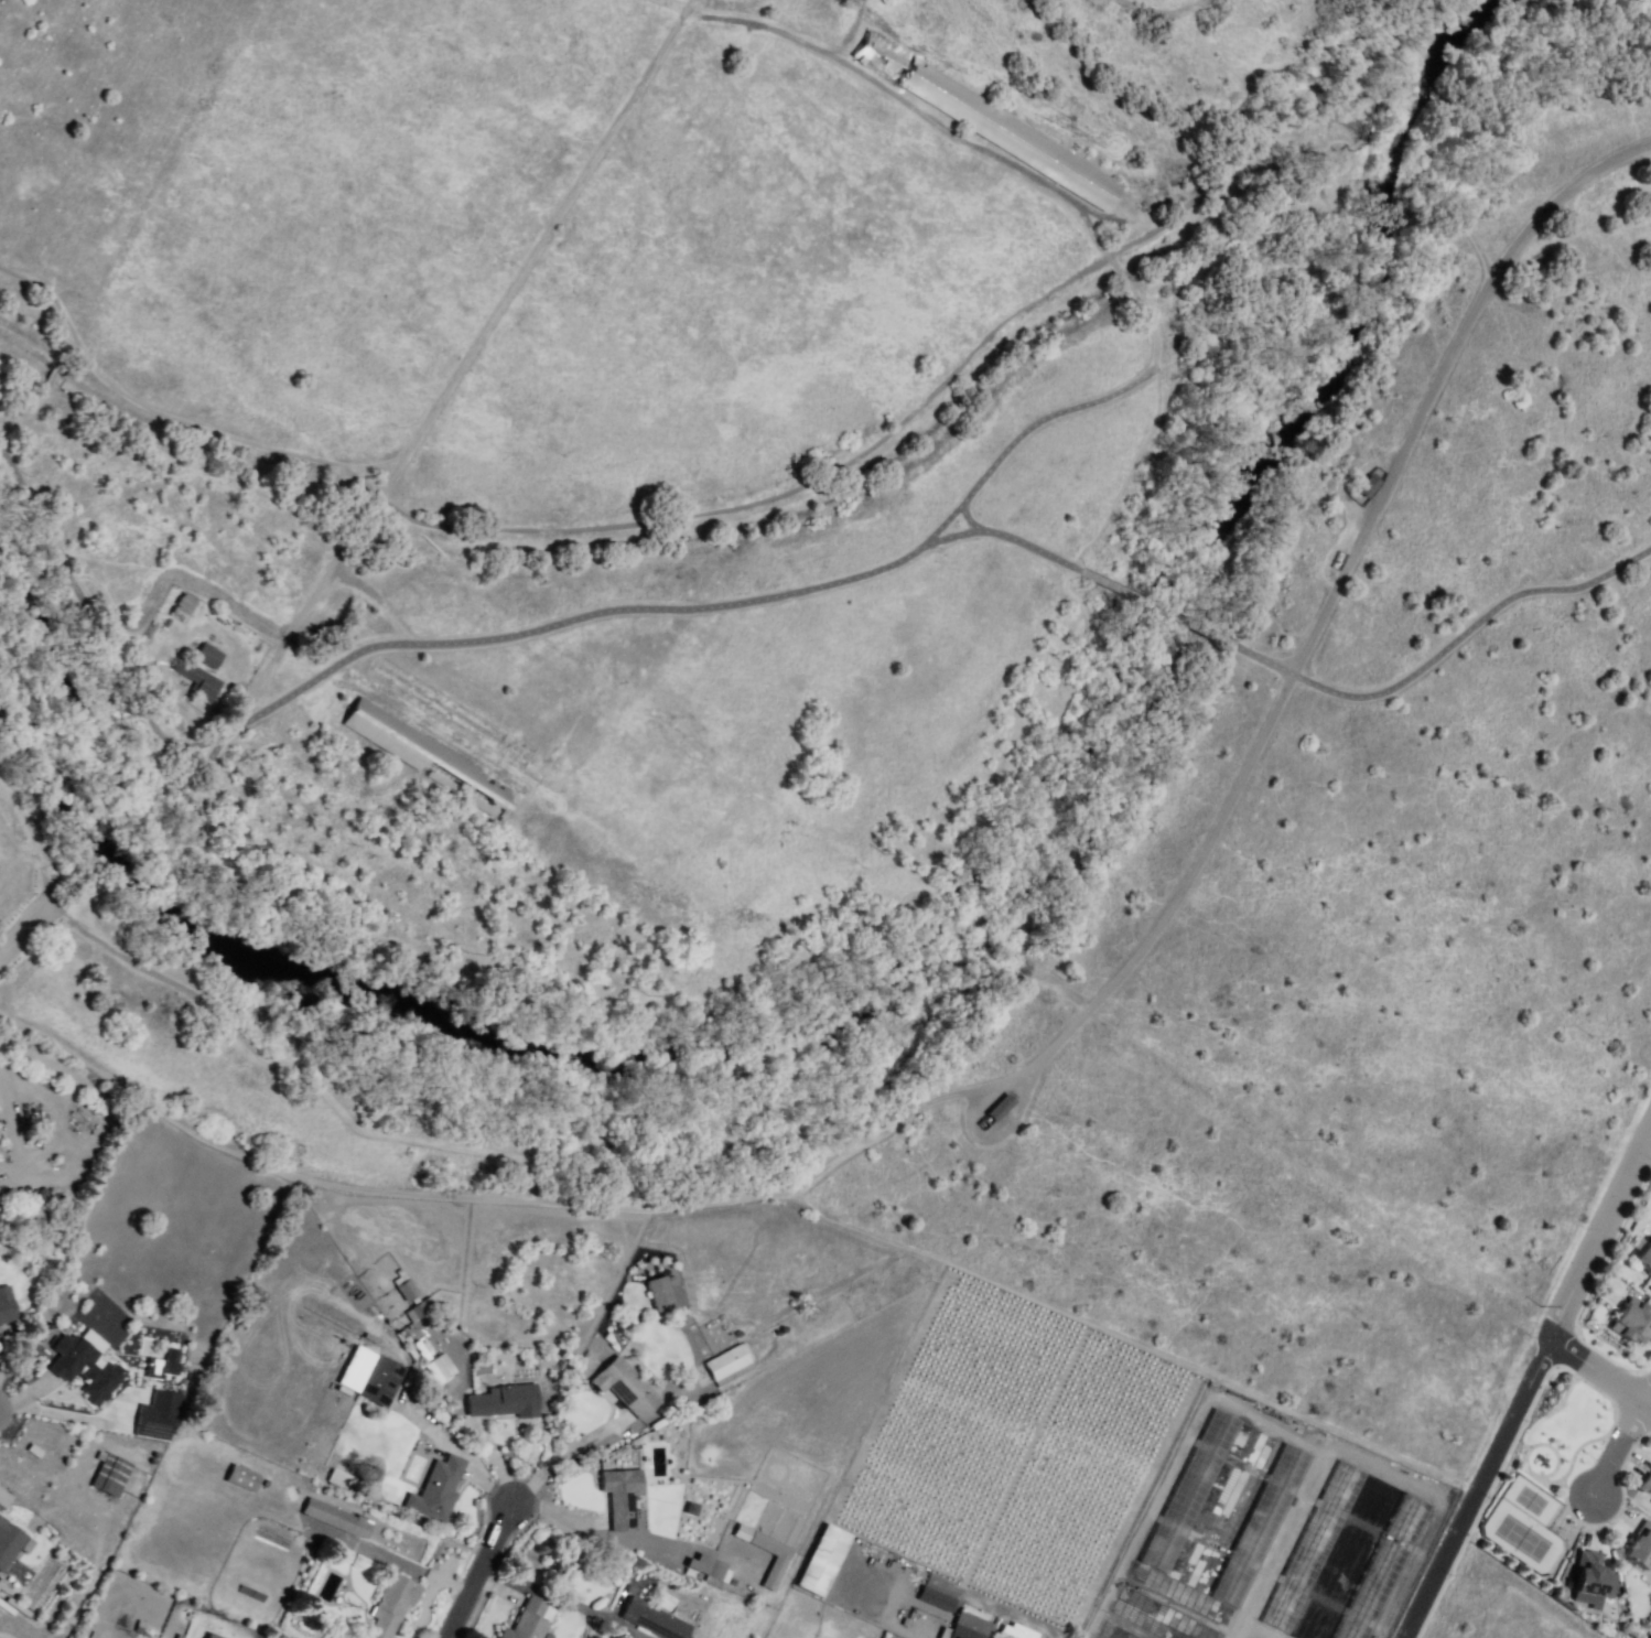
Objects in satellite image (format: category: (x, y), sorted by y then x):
road: (687, 4)
road: (682, 8)
road: (1482, 116)
building: (992, 122)
road: (144, 150)
road: (581, 194)
road: (1134, 302)
road: (56, 337)
road: (52, 376)
road: (26, 412)
building: (1367, 485)
road: (543, 531)
building: (182, 607)
road: (1159, 608)
road: (367, 615)
road: (1318, 617)
road: (1468, 628)
road: (454, 649)
building: (207, 656)
road: (1263, 657)
building: (196, 679)
building: (431, 762)
road: (176, 769)
road: (22, 938)
parking lot: (2, 955)
road: (842, 972)
building: (1000, 1108)
road: (995, 1134)
road: (454, 1144)
building: (0, 1153)
road: (251, 1156)
street lamp: (1650, 1161)
road: (1599, 1237)
building: (1644, 1257)
building: (658, 1293)
building: (414, 1303)
building: (6, 1305)
building: (1632, 1321)
road: (1121, 1337)
building: (161, 1364)
building: (726, 1364)
building: (441, 1366)
road: (1600, 1369)
building: (84, 1370)
building: (376, 1378)
building: (625, 1386)
road: (1649, 1398)
building: (506, 1401)
building: (127, 1409)
building: (155, 1415)
crop: (1017, 1448)
road: (1617, 1451)
road: (557, 1452)
road: (1529, 1467)
building: (109, 1475)
building: (241, 1478)
building: (338, 1480)
building: (39, 1481)
park: (1544, 1481)
building: (1647, 1485)
road: (1476, 1487)
building: (436, 1489)
building: (1188, 1490)
road: (1574, 1492)
building: (621, 1497)
building: (3, 1498)
building: (15, 1516)
building: (335, 1518)
building: (1258, 1526)
park: (1523, 1527)
building: (9, 1542)
road: (1278, 1543)
building: (1310, 1544)
building: (1641, 1549)
building: (820, 1560)
building: (708, 1566)
road: (479, 1569)
building: (1381, 1569)
building: (774, 1571)
building: (1591, 1574)
building: (934, 1599)
building: (389, 1607)
building: (648, 1614)
building: (527, 1620)
building: (970, 1627)
building: (211, 1636)

